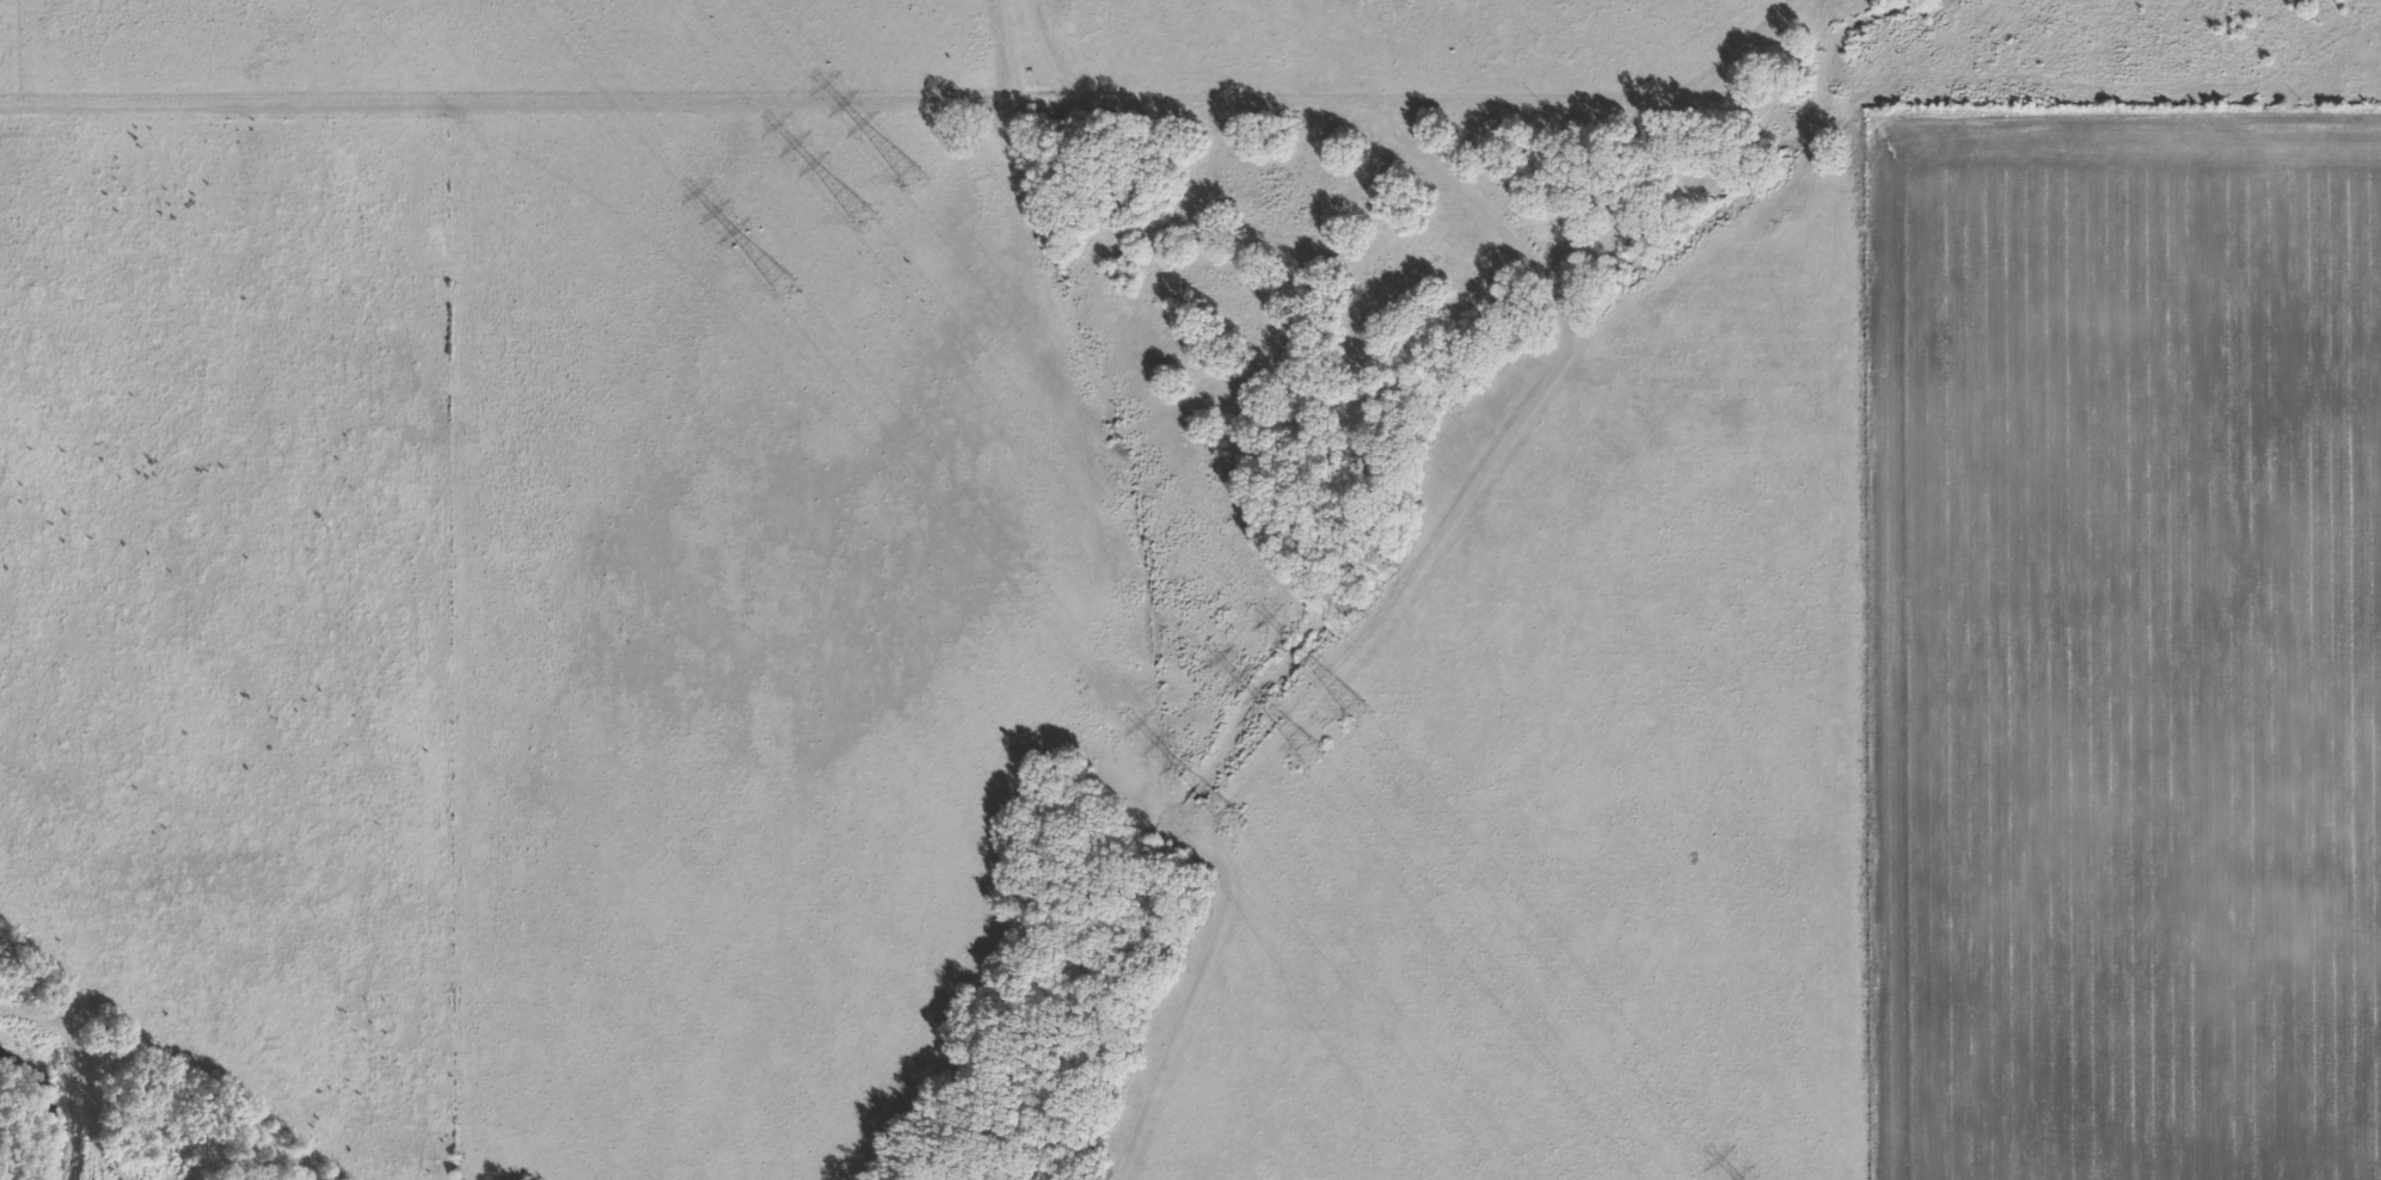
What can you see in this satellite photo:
power tower: (919, 179)
power tower: (865, 222)
power tower: (787, 289)
power tower: (1358, 712)
power tower: (1312, 755)
power tower: (1233, 825)

